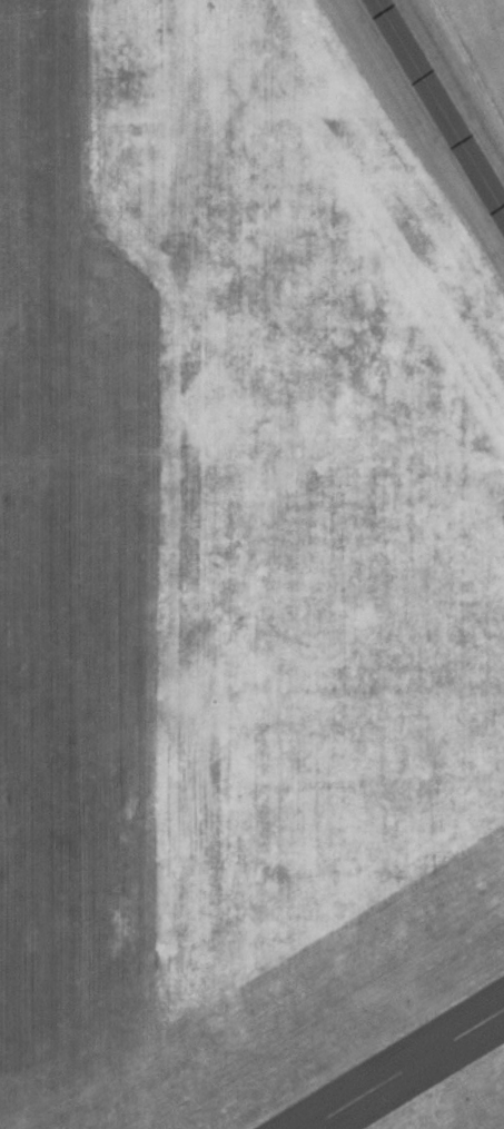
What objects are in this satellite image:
crop: (484, 33)
airport taxiway: (438, 107)
airport runway: (405, 1068)
building: (350, 1112)

